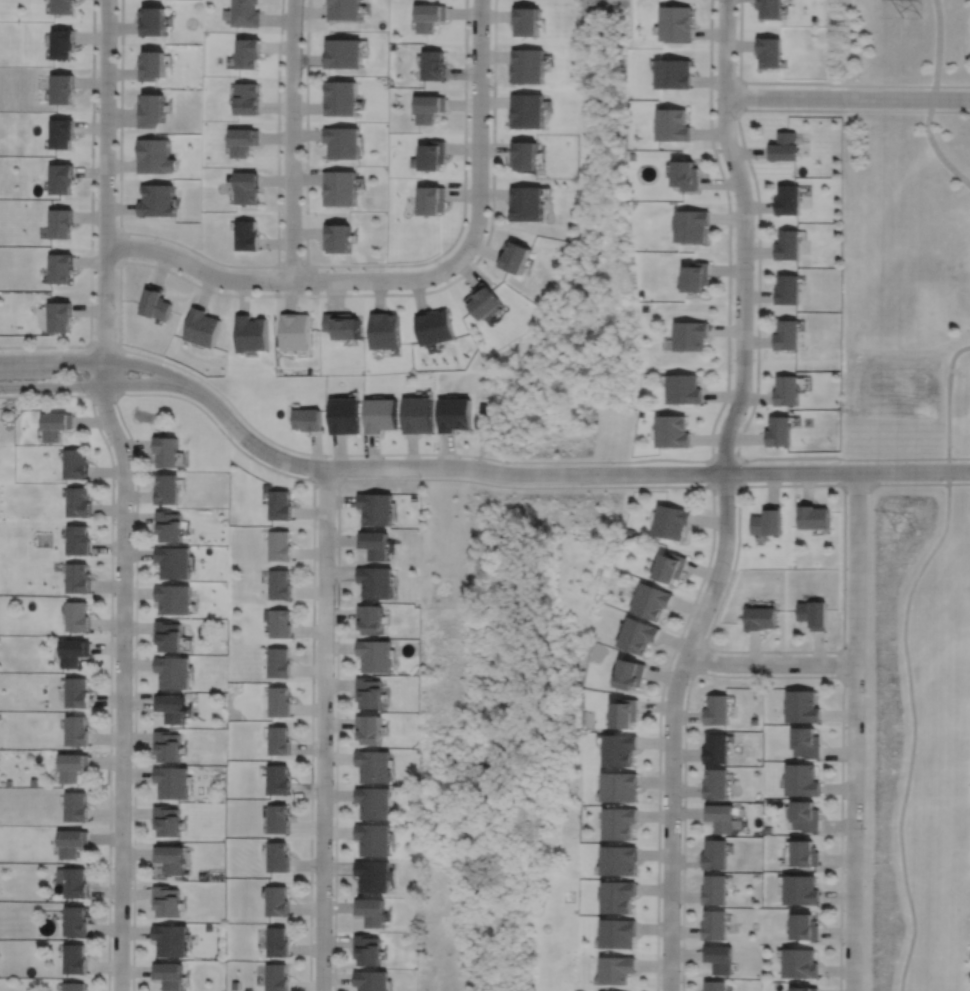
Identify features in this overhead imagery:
building: (61, 6)
building: (345, 9)
building: (770, 9)
building: (243, 13)
power tower: (912, 15)
building: (429, 16)
building: (526, 20)
building: (153, 21)
building: (675, 24)
street lamp: (490, 42)
building: (61, 43)
park: (906, 44)
road: (938, 49)
building: (248, 52)
building: (769, 52)
building: (344, 53)
building: (434, 65)
building: (528, 65)
building: (152, 66)
building: (673, 73)
road: (814, 83)
building: (61, 88)
street lamp: (116, 88)
road: (740, 96)
building: (246, 98)
road: (847, 98)
building: (340, 99)
building: (429, 108)
street lamp: (844, 108)
building: (527, 109)
building: (151, 110)
road: (933, 111)
street lamp: (301, 117)
street lamp: (735, 119)
building: (673, 124)
road: (479, 131)
building: (61, 133)
street lamp: (469, 136)
road: (292, 139)
building: (243, 140)
building: (343, 143)
building: (784, 146)
road: (935, 147)
building: (432, 155)
building: (156, 156)
building: (524, 156)
building: (631, 156)
building: (686, 174)
building: (60, 178)
building: (245, 187)
building: (340, 188)
street lamp: (96, 199)
building: (789, 199)
building: (157, 200)
building: (431, 200)
building: (525, 203)
street lamp: (734, 203)
street lamp: (283, 210)
building: (60, 222)
building: (692, 225)
road: (729, 230)
building: (246, 236)
road: (744, 236)
building: (338, 238)
street lamp: (160, 242)
building: (788, 245)
road: (120, 246)
building: (515, 254)
street lamp: (472, 259)
road: (213, 260)
road: (291, 265)
road: (373, 265)
building: (60, 268)
street lamp: (384, 269)
street lamp: (755, 269)
building: (697, 276)
road: (282, 280)
park: (905, 285)
building: (787, 289)
street lamp: (272, 290)
road: (391, 295)
building: (485, 300)
building: (155, 303)
street lamp: (115, 308)
building: (60, 316)
building: (343, 325)
building: (436, 327)
building: (201, 328)
building: (386, 331)
building: (296, 332)
building: (251, 334)
building: (786, 334)
building: (691, 336)
street lamp: (3, 351)
street lamp: (83, 351)
road: (93, 361)
road: (121, 370)
street lamp: (733, 371)
road: (91, 385)
building: (684, 390)
building: (785, 391)
street lamp: (84, 392)
street lamp: (3, 393)
road: (52, 395)
road: (949, 404)
building: (454, 414)
building: (382, 415)
building: (418, 415)
building: (642, 415)
building: (345, 416)
building: (309, 420)
building: (55, 426)
road: (217, 426)
building: (778, 430)
building: (673, 432)
street lamp: (231, 437)
street lamp: (108, 442)
building: (167, 452)
road: (738, 452)
road: (457, 454)
street lamp: (328, 457)
road: (959, 457)
street lamp: (748, 463)
street lamp: (838, 463)
street lamp: (506, 464)
street lamp: (613, 464)
building: (74, 465)
road: (440, 467)
road: (847, 472)
street lamp: (420, 476)
road: (647, 486)
building: (168, 490)
road: (111, 493)
road: (124, 493)
street lamp: (847, 494)
building: (78, 503)
building: (279, 506)
building: (375, 510)
building: (815, 519)
building: (672, 522)
building: (769, 523)
building: (170, 527)
power tower: (913, 531)
building: (77, 541)
street lamp: (133, 543)
building: (280, 546)
building: (373, 546)
building: (174, 561)
street lamp: (335, 563)
building: (671, 567)
street lamp: (730, 568)
building: (77, 579)
building: (377, 582)
building: (280, 583)
street lamp: (847, 596)
building: (174, 597)
building: (652, 599)
building: (815, 612)
building: (77, 615)
building: (372, 616)
building: (761, 616)
building: (280, 621)
building: (639, 633)
building: (169, 634)
street lamp: (113, 635)
building: (72, 650)
building: (376, 653)
street lamp: (779, 653)
road: (699, 657)
building: (279, 661)
road: (770, 663)
road: (843, 664)
building: (173, 670)
building: (632, 672)
road: (764, 676)
street lamp: (689, 678)
street lamp: (314, 682)
road: (135, 690)
building: (370, 691)
building: (77, 692)
building: (279, 701)
building: (802, 705)
building: (171, 707)
building: (716, 708)
building: (627, 712)
road: (659, 720)
building: (754, 721)
street lamp: (865, 726)
building: (369, 727)
road: (672, 727)
road: (914, 727)
road: (323, 729)
building: (77, 730)
road: (855, 731)
road: (311, 735)
road: (336, 735)
park: (916, 737)
building: (278, 740)
building: (806, 742)
building: (167, 745)
building: (621, 748)
building: (715, 748)
street lamp: (132, 764)
building: (375, 764)
building: (71, 766)
building: (278, 779)
building: (801, 779)
building: (172, 782)
building: (715, 783)
street lamp: (332, 784)
building: (622, 786)
building: (374, 801)
street lamp: (680, 801)
building: (76, 806)
building: (805, 816)
building: (719, 817)
building: (278, 819)
building: (167, 821)
building: (621, 822)
street lamp: (864, 835)
building: (374, 838)
building: (71, 843)
building: (805, 854)
building: (715, 855)
building: (277, 857)
building: (169, 859)
building: (621, 859)
street lamp: (110, 863)
building: (374, 875)
building: (73, 882)
building: (714, 890)
building: (801, 890)
building: (620, 896)
building: (166, 901)
building: (276, 901)
street lamp: (680, 907)
building: (372, 910)
building: (73, 921)
street lamp: (312, 923)
building: (713, 925)
building: (804, 927)
building: (620, 933)
building: (170, 940)
building: (277, 942)
street lamp: (843, 944)
building: (368, 950)
building: (720, 956)
building: (73, 960)
building: (802, 961)
building: (619, 969)
building: (169, 976)
building: (276, 977)
street lamp: (110, 978)
building: (372, 980)
building: (716, 985)
building: (72, 987)
building: (807, 987)

